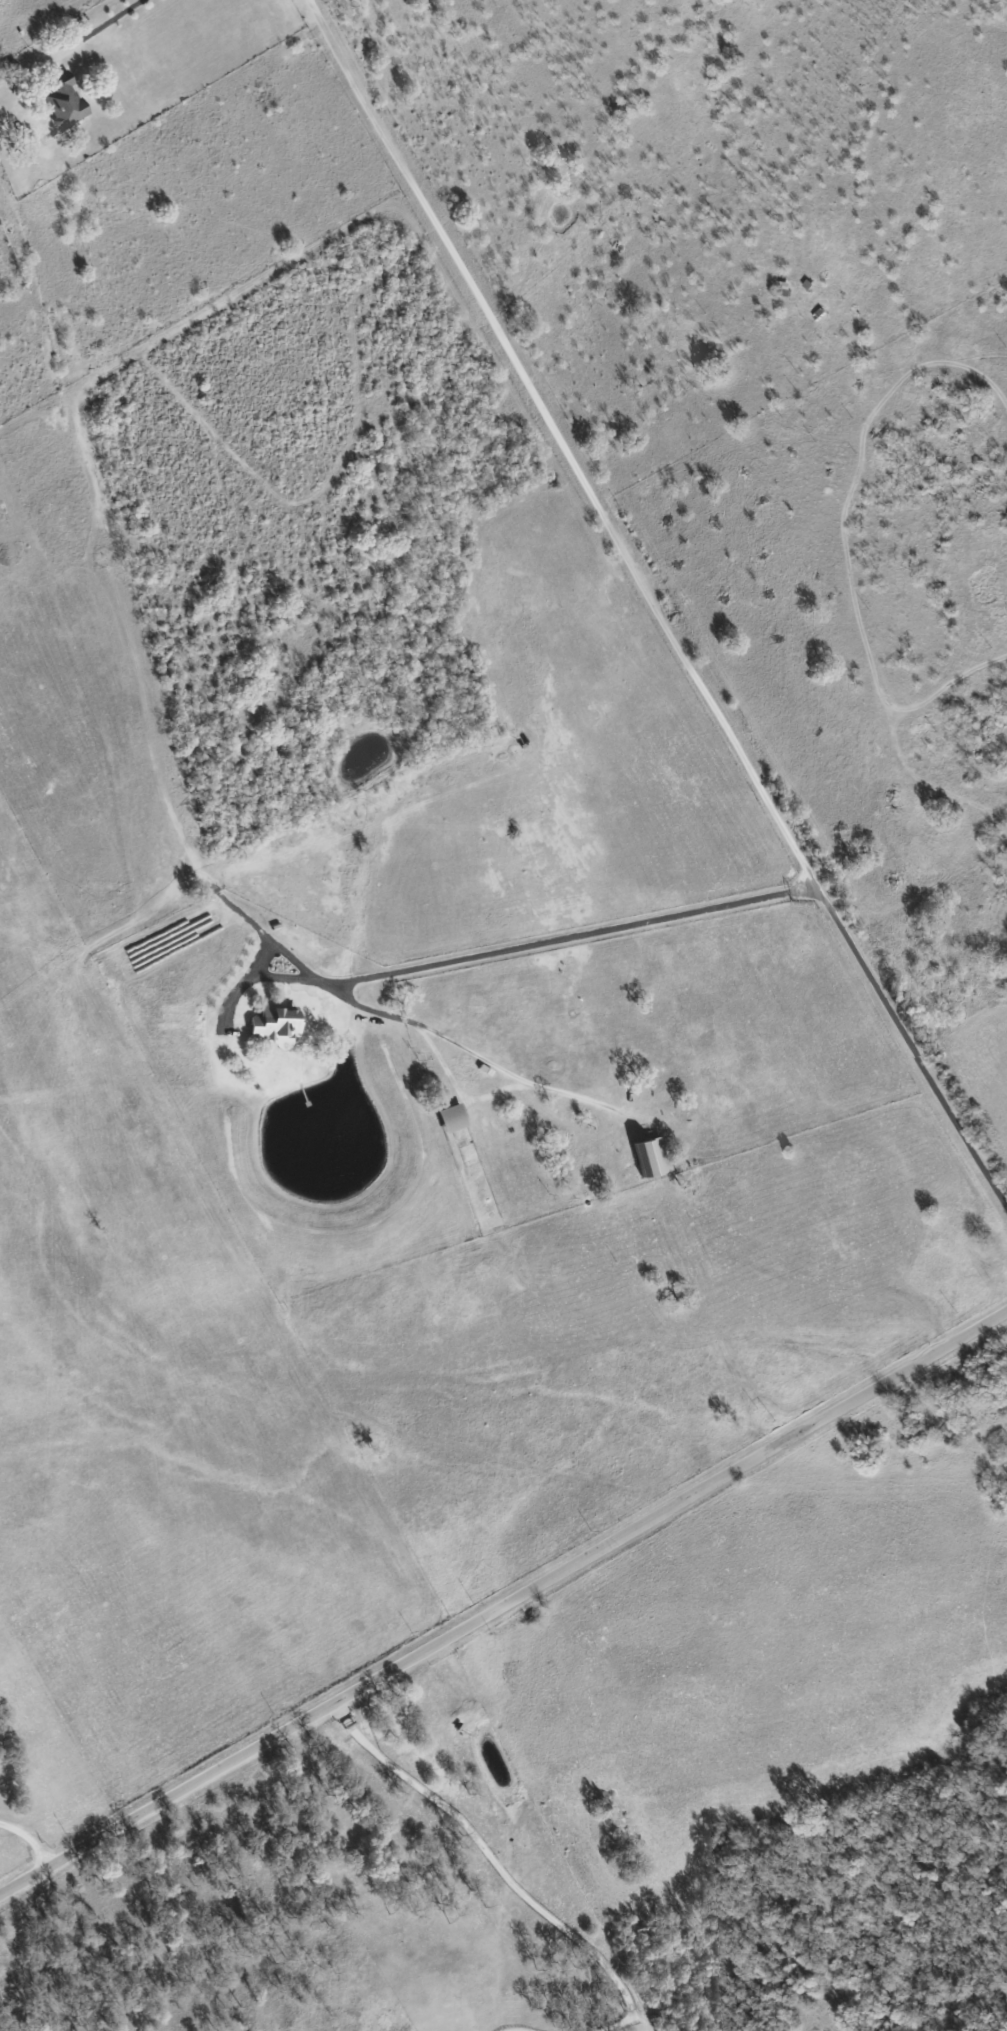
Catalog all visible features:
road: (95, 29)
road: (648, 606)
road: (495, 952)
building: (266, 1023)
road: (457, 1047)
building: (445, 1118)
building: (641, 1157)
road: (505, 1605)
road: (28, 1839)
road: (500, 1868)
road: (516, 2028)

